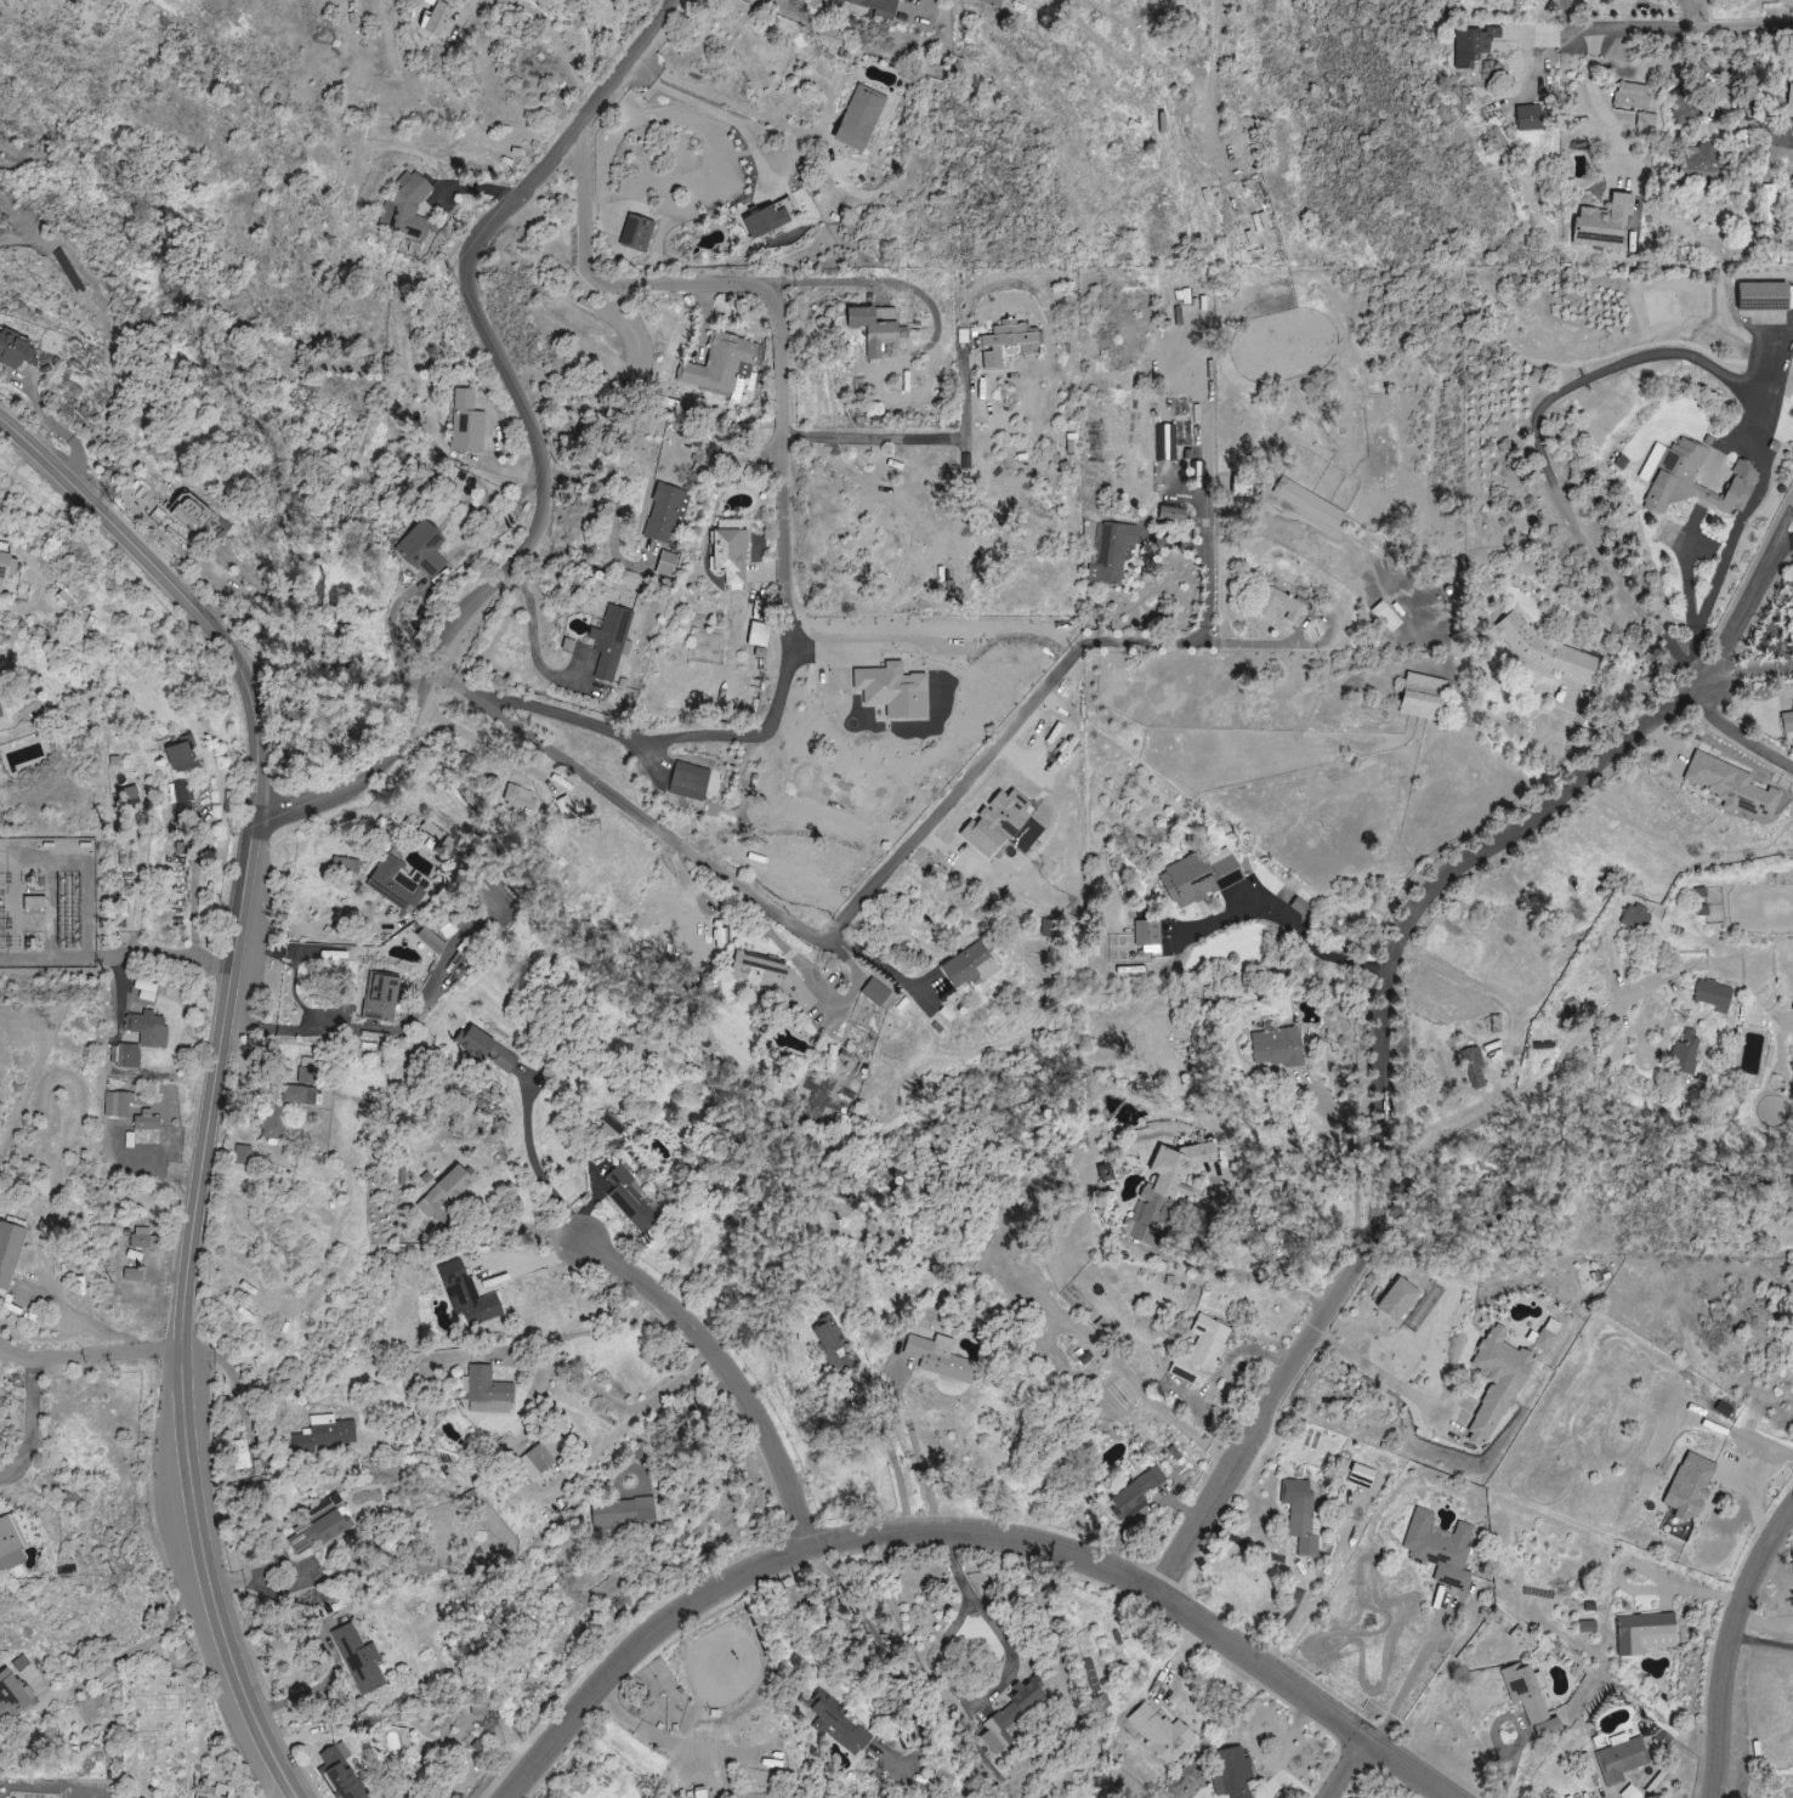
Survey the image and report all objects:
building: (992, 2)
road: (931, 5)
building: (876, 6)
road: (1704, 13)
road: (1568, 18)
road: (544, 19)
road: (1690, 27)
building: (1471, 46)
building: (1632, 95)
building: (1788, 101)
building: (1683, 107)
building: (857, 118)
building: (1527, 118)
building: (1646, 120)
building: (1700, 160)
building: (1768, 195)
building: (407, 208)
building: (764, 221)
building: (1601, 222)
building: (637, 233)
road: (651, 287)
building: (1764, 295)
building: (875, 327)
building: (1009, 341)
building: (11, 347)
road: (1635, 359)
building: (719, 365)
road: (544, 436)
road: (913, 437)
building: (1690, 478)
building: (1307, 501)
road: (619, 506)
building: (182, 511)
building: (665, 511)
building: (1169, 514)
road: (784, 533)
building: (421, 549)
building: (727, 552)
building: (1111, 552)
building: (666, 563)
building: (4, 569)
road: (1689, 573)
road: (1208, 591)
building: (1280, 605)
building: (1789, 618)
road: (1755, 620)
road: (538, 641)
building: (611, 641)
road: (1306, 642)
building: (1543, 651)
building: (1420, 696)
building: (0, 711)
building: (1787, 721)
road: (613, 731)
road: (1736, 731)
building: (180, 756)
building: (688, 781)
building: (1730, 785)
building: (183, 792)
building: (563, 804)
building: (1198, 877)
building: (397, 883)
power substation: (47, 904)
building: (1635, 917)
road: (844, 921)
road: (1305, 923)
building: (1147, 936)
building: (429, 940)
road: (174, 954)
building: (331, 954)
road: (889, 963)
building: (968, 965)
building: (772, 979)
building: (875, 991)
road: (824, 992)
building: (1712, 994)
building: (379, 997)
building: (141, 1037)
road: (1588, 1038)
building: (1276, 1044)
building: (487, 1049)
road: (1630, 1053)
building: (1684, 1053)
building: (1792, 1066)
building: (306, 1067)
building: (1474, 1067)
road: (219, 1070)
road: (1375, 1085)
building: (297, 1094)
building: (118, 1104)
building: (146, 1121)
building: (273, 1121)
building: (243, 1155)
road: (540, 1164)
building: (1163, 1187)
building: (443, 1191)
building: (625, 1193)
building: (8, 1252)
road: (1201, 1255)
building: (132, 1275)
building: (466, 1294)
building: (1396, 1299)
road: (92, 1320)
building: (1545, 1334)
building: (834, 1348)
building: (934, 1356)
road: (90, 1359)
road: (1381, 1371)
road: (725, 1380)
building: (1496, 1383)
building: (487, 1391)
road: (622, 1406)
road: (35, 1429)
road: (666, 1429)
building: (324, 1433)
road: (919, 1451)
building: (240, 1454)
building: (539, 1457)
road: (895, 1458)
building: (1360, 1476)
building: (1687, 1486)
building: (1134, 1493)
building: (623, 1511)
building: (1300, 1515)
building: (313, 1531)
road: (975, 1533)
building: (10, 1542)
building: (1439, 1549)
road: (995, 1621)
building: (1587, 1626)
building: (1644, 1633)
road: (1761, 1641)
road: (1729, 1644)
road: (132, 1651)
road: (931, 1658)
building: (358, 1660)
road: (896, 1664)
road: (1414, 1673)
building: (1525, 1691)
building: (11, 1697)
building: (1010, 1715)
road: (1509, 1717)
building: (835, 1723)
building: (1548, 1728)
building: (1159, 1732)
road: (674, 1741)
building: (1621, 1760)
road: (1343, 1766)
building: (339, 1773)
road: (1505, 1777)
building: (214, 1792)
building: (1630, 1793)

